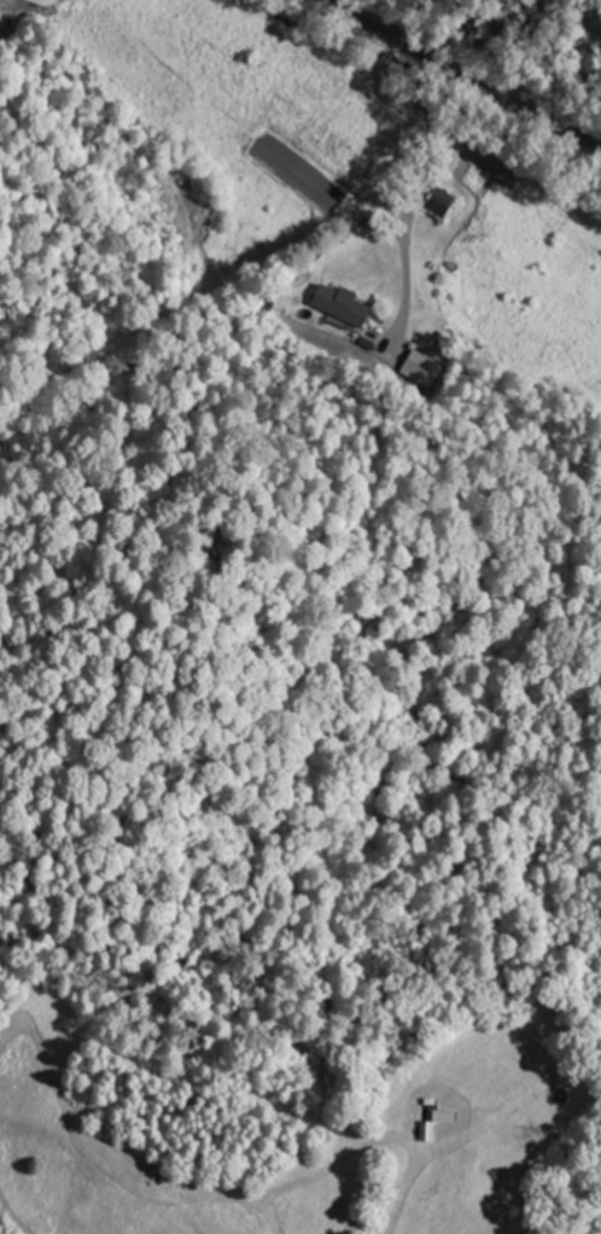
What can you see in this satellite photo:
road: (462, 74)
building: (345, 305)
building: (421, 362)
road: (97, 1160)

